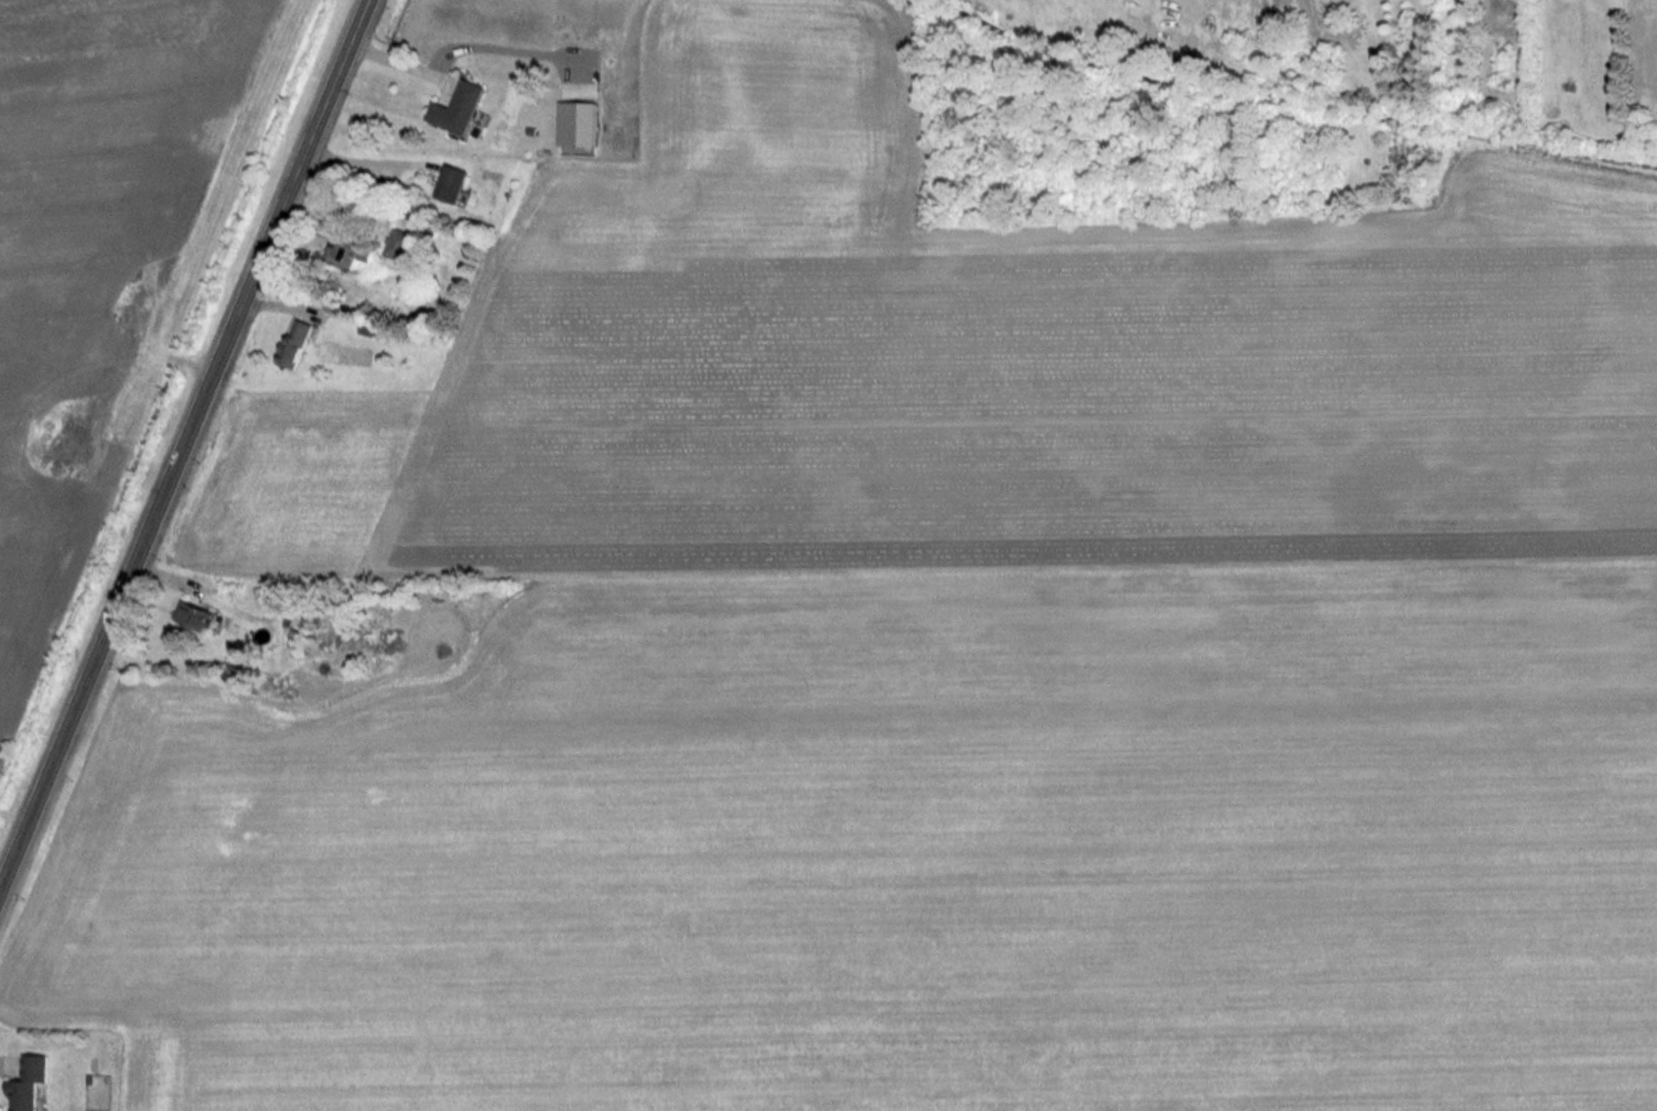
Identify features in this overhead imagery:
road: (405, 61)
building: (459, 107)
building: (578, 122)
road: (374, 161)
building: (454, 183)
building: (398, 247)
building: (354, 252)
building: (295, 343)
road: (183, 444)
building: (194, 615)
building: (29, 1082)

